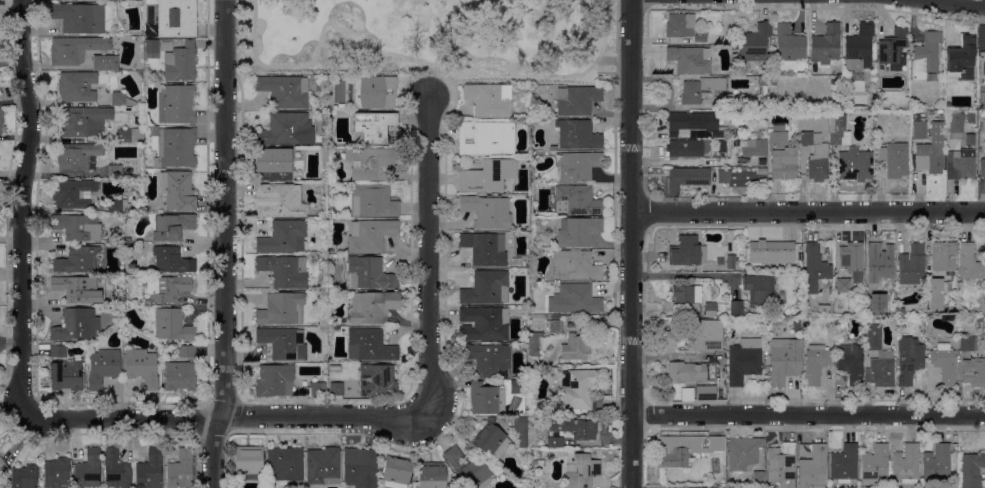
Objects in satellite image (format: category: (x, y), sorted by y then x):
building: (65, 0)
building: (111, 1)
road: (955, 3)
building: (79, 18)
building: (176, 18)
building: (682, 27)
park: (430, 38)
building: (729, 40)
building: (753, 43)
building: (825, 44)
building: (788, 45)
building: (858, 48)
building: (892, 48)
building: (74, 49)
building: (151, 49)
road: (237, 53)
building: (907, 54)
building: (925, 57)
road: (616, 58)
road: (412, 59)
road: (606, 59)
building: (689, 59)
building: (960, 59)
building: (180, 62)
building: (103, 63)
road: (246, 63)
building: (982, 63)
road: (435, 83)
building: (871, 85)
building: (78, 86)
building: (762, 86)
building: (699, 89)
building: (284, 91)
building: (373, 92)
building: (733, 97)
building: (121, 100)
building: (488, 100)
building: (577, 100)
building: (176, 104)
road: (244, 106)
building: (938, 115)
building: (970, 117)
building: (838, 119)
building: (1, 120)
building: (82, 121)
building: (694, 123)
building: (955, 125)
building: (373, 126)
building: (286, 130)
building: (878, 130)
building: (919, 130)
building: (577, 134)
building: (130, 135)
building: (485, 138)
building: (838, 138)
building: (969, 139)
building: (721, 146)
building: (175, 148)
building: (686, 148)
building: (754, 148)
building: (930, 151)
building: (781, 154)
building: (323, 155)
building: (815, 156)
building: (76, 157)
building: (894, 158)
building: (370, 162)
building: (273, 164)
building: (578, 165)
building: (854, 165)
building: (959, 165)
building: (982, 166)
building: (116, 172)
building: (487, 176)
building: (721, 176)
building: (686, 179)
road: (653, 181)
building: (177, 191)
building: (72, 193)
building: (577, 200)
building: (278, 201)
building: (373, 201)
building: (116, 205)
road: (20, 207)
building: (486, 211)
road: (808, 212)
building: (76, 227)
building: (172, 227)
building: (577, 231)
building: (370, 235)
building: (282, 238)
road: (631, 243)
road: (225, 244)
building: (485, 248)
building: (686, 251)
building: (799, 251)
building: (769, 252)
road: (428, 254)
building: (942, 256)
building: (172, 260)
building: (852, 260)
building: (76, 261)
building: (719, 261)
building: (731, 262)
building: (877, 263)
building: (969, 263)
building: (524, 264)
building: (911, 264)
building: (576, 265)
building: (799, 265)
building: (814, 268)
building: (284, 271)
building: (368, 273)
road: (680, 274)
building: (843, 285)
building: (485, 288)
building: (166, 289)
building: (758, 289)
building: (73, 290)
building: (937, 293)
building: (686, 294)
building: (573, 299)
building: (371, 307)
building: (709, 307)
building: (736, 307)
building: (691, 308)
building: (282, 309)
building: (823, 309)
building: (899, 311)
building: (555, 317)
building: (948, 318)
building: (859, 319)
building: (869, 319)
building: (482, 324)
building: (73, 325)
building: (171, 325)
building: (555, 327)
building: (707, 335)
building: (874, 337)
building: (283, 343)
building: (536, 343)
building: (970, 343)
building: (369, 346)
building: (574, 348)
building: (58, 352)
building: (187, 352)
building: (488, 359)
building: (908, 359)
building: (743, 360)
building: (783, 360)
building: (850, 362)
building: (815, 363)
building: (944, 363)
building: (103, 367)
building: (141, 368)
building: (880, 370)
building: (686, 372)
building: (973, 372)
building: (67, 376)
building: (179, 376)
building: (274, 381)
building: (377, 381)
building: (516, 387)
building: (316, 389)
building: (336, 389)
building: (579, 390)
building: (705, 393)
building: (687, 394)
building: (485, 398)
road: (808, 414)
road: (225, 416)
building: (576, 427)
building: (520, 431)
building: (491, 440)
building: (554, 440)
building: (685, 449)
building: (529, 452)
building: (743, 453)
building: (248, 462)
building: (2, 463)
building: (844, 463)
building: (936, 463)
building: (535, 464)
building: (874, 464)
building: (905, 464)
building: (283, 465)
building: (781, 465)
building: (322, 466)
building: (359, 468)
building: (812, 468)
building: (468, 469)
building: (971, 469)
building: (87, 470)
building: (115, 470)
building: (150, 470)
building: (180, 470)
building: (582, 470)
building: (396, 472)
building: (55, 473)
building: (431, 475)
building: (24, 476)
building: (758, 478)

